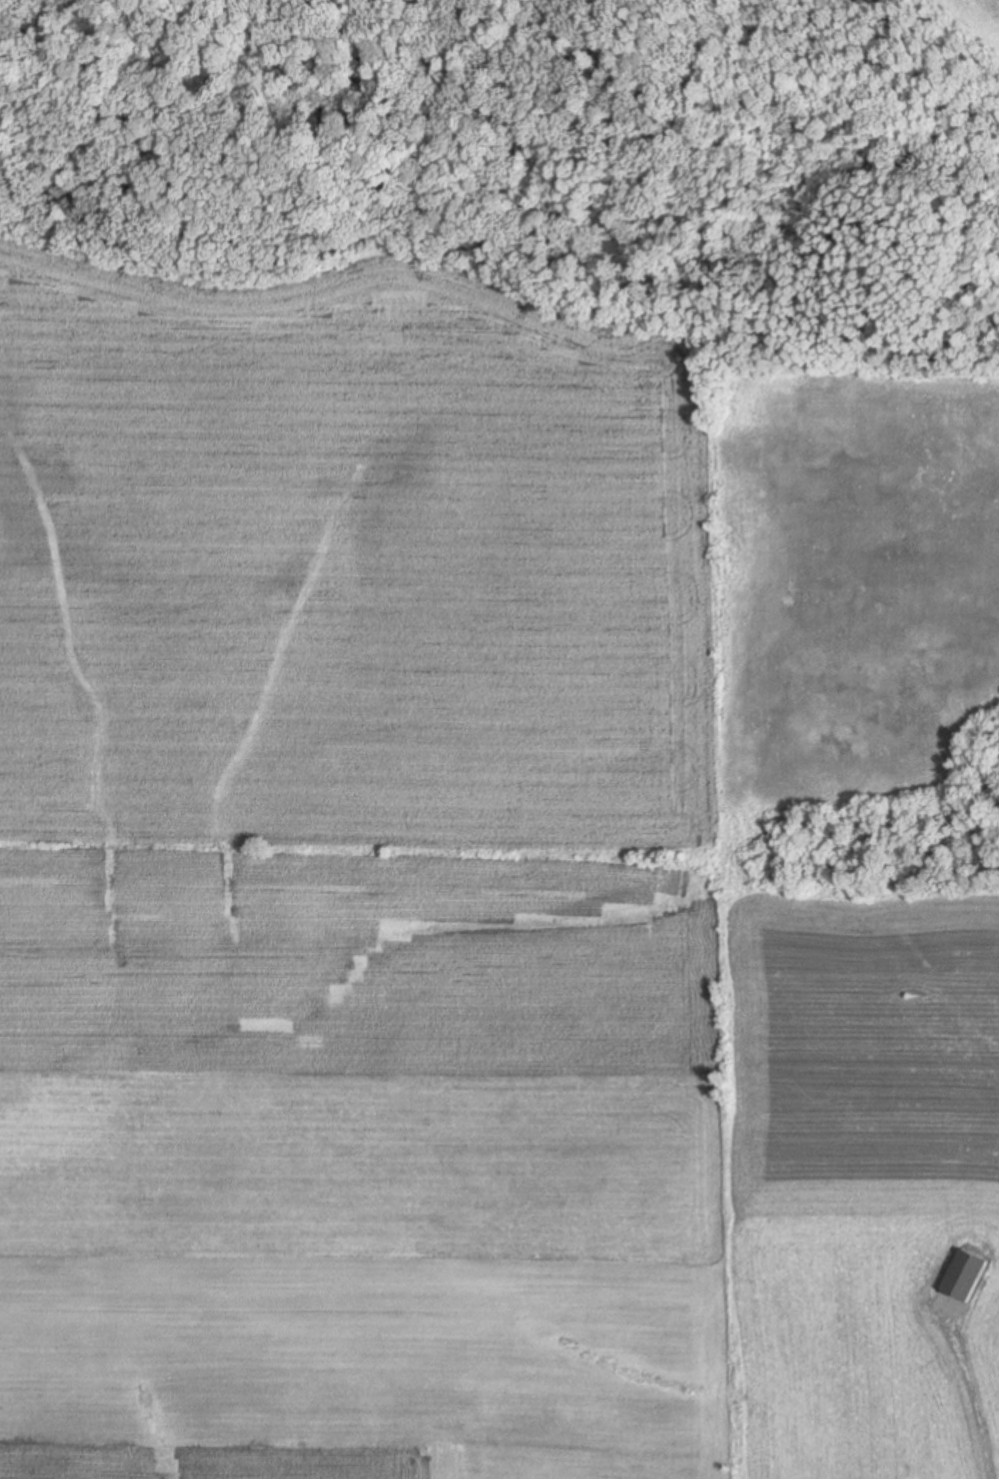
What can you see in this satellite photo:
road: (937, 25)
building: (965, 1271)

